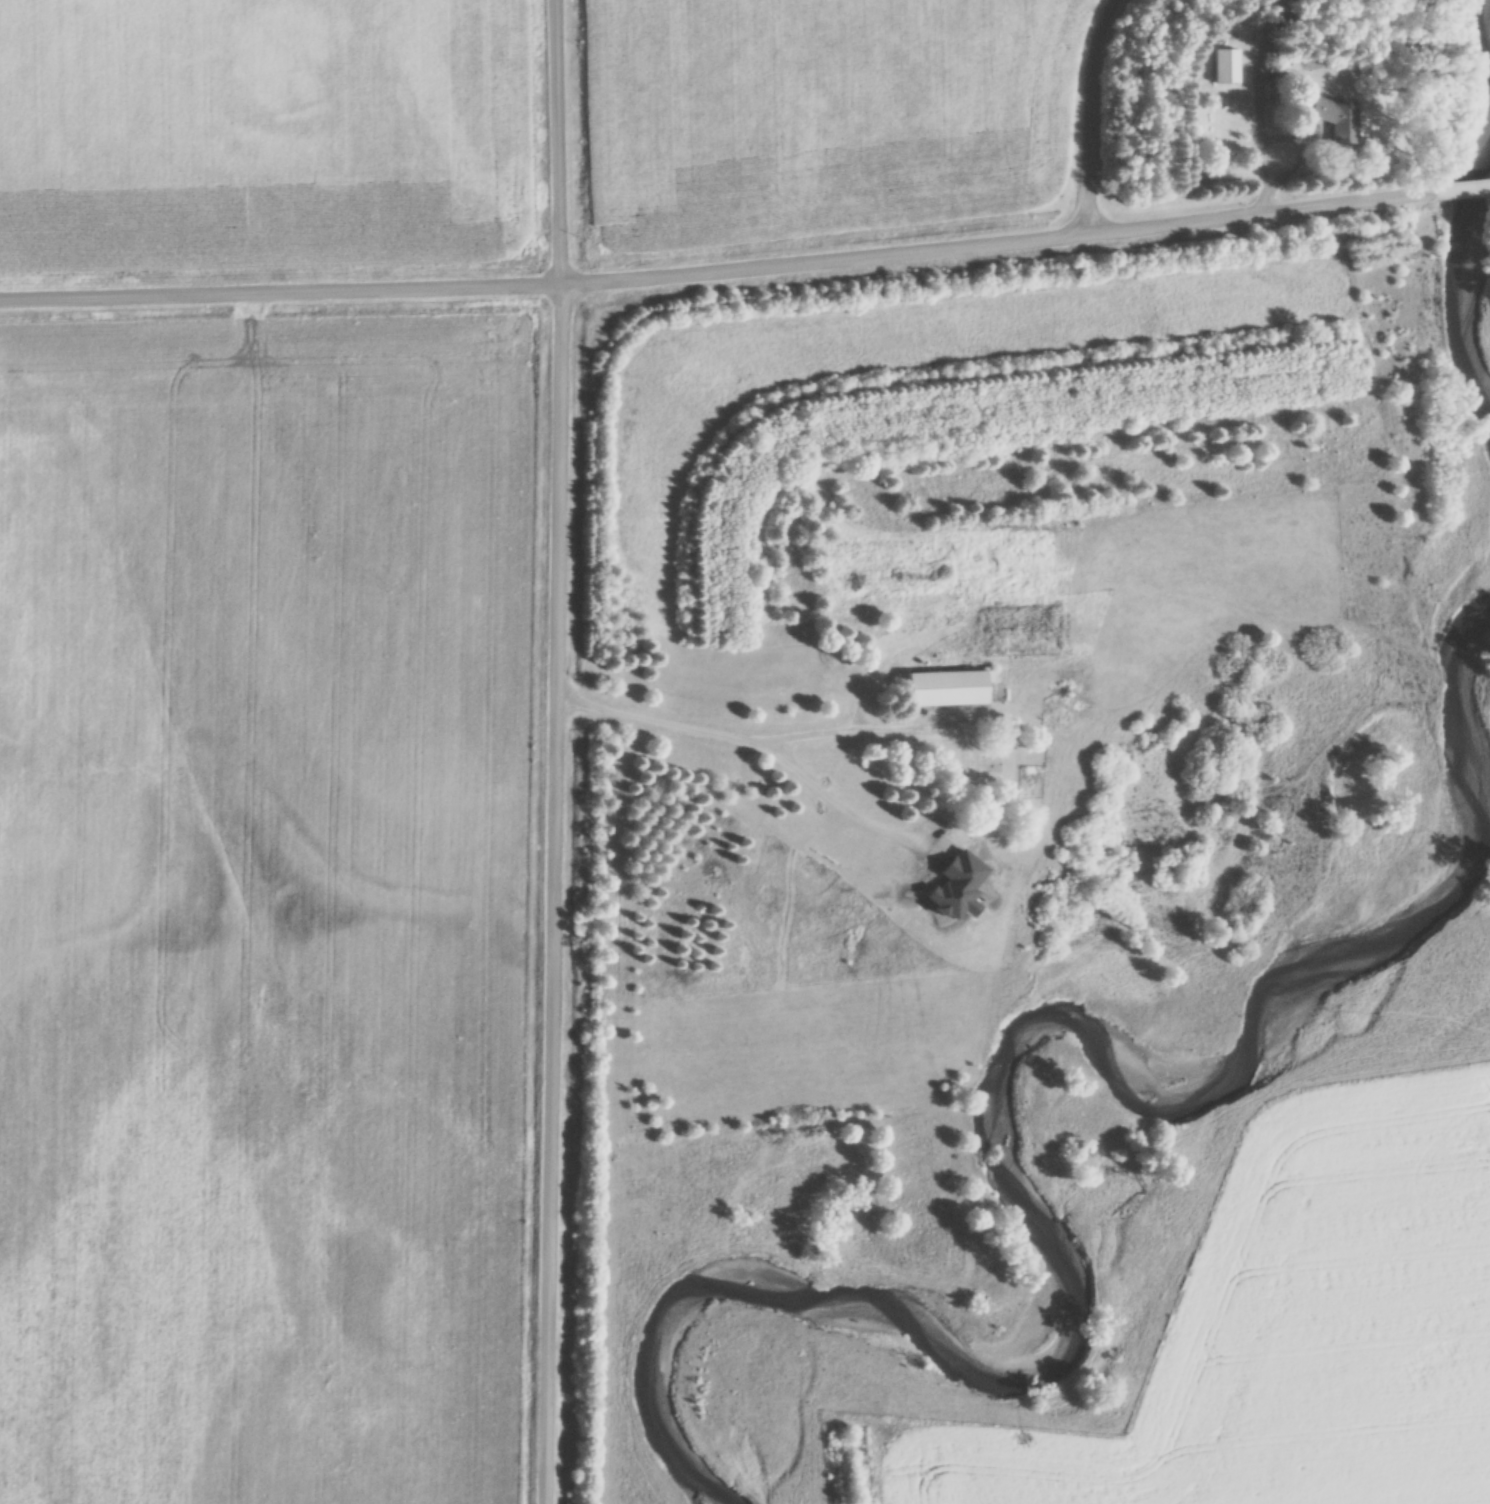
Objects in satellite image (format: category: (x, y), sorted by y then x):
building: (1225, 67)
road: (1081, 114)
building: (1336, 119)
road: (1463, 189)
road: (720, 274)
building: (945, 690)
road: (754, 745)
road: (555, 752)
building: (955, 888)
crop: (262, 908)

